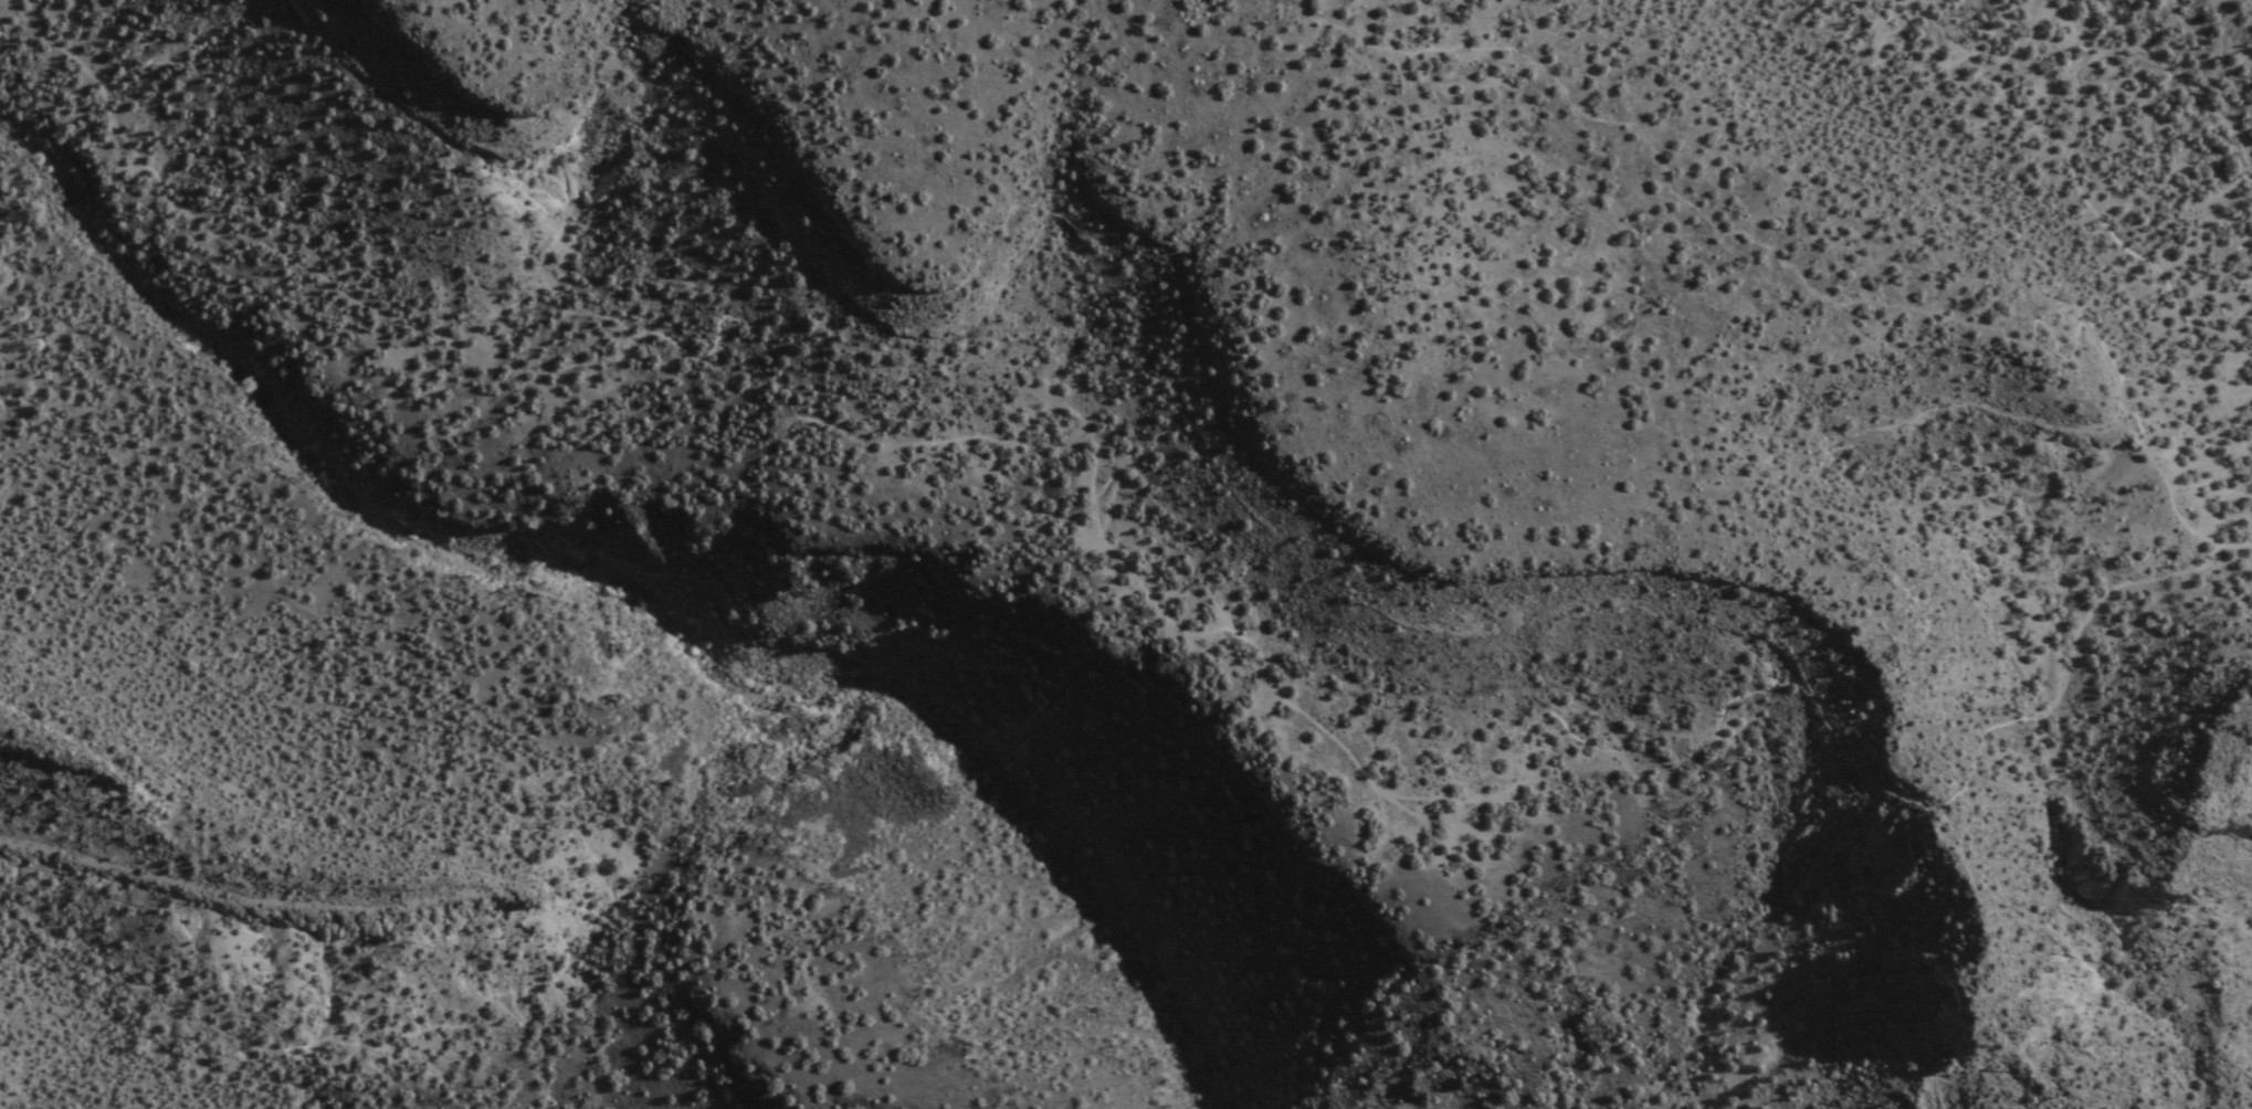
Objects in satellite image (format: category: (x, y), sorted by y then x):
road: (2250, 2)
road: (2097, 194)
road: (1799, 293)
road: (1143, 589)
road: (640, 614)
road: (568, 818)
road: (2224, 1008)

